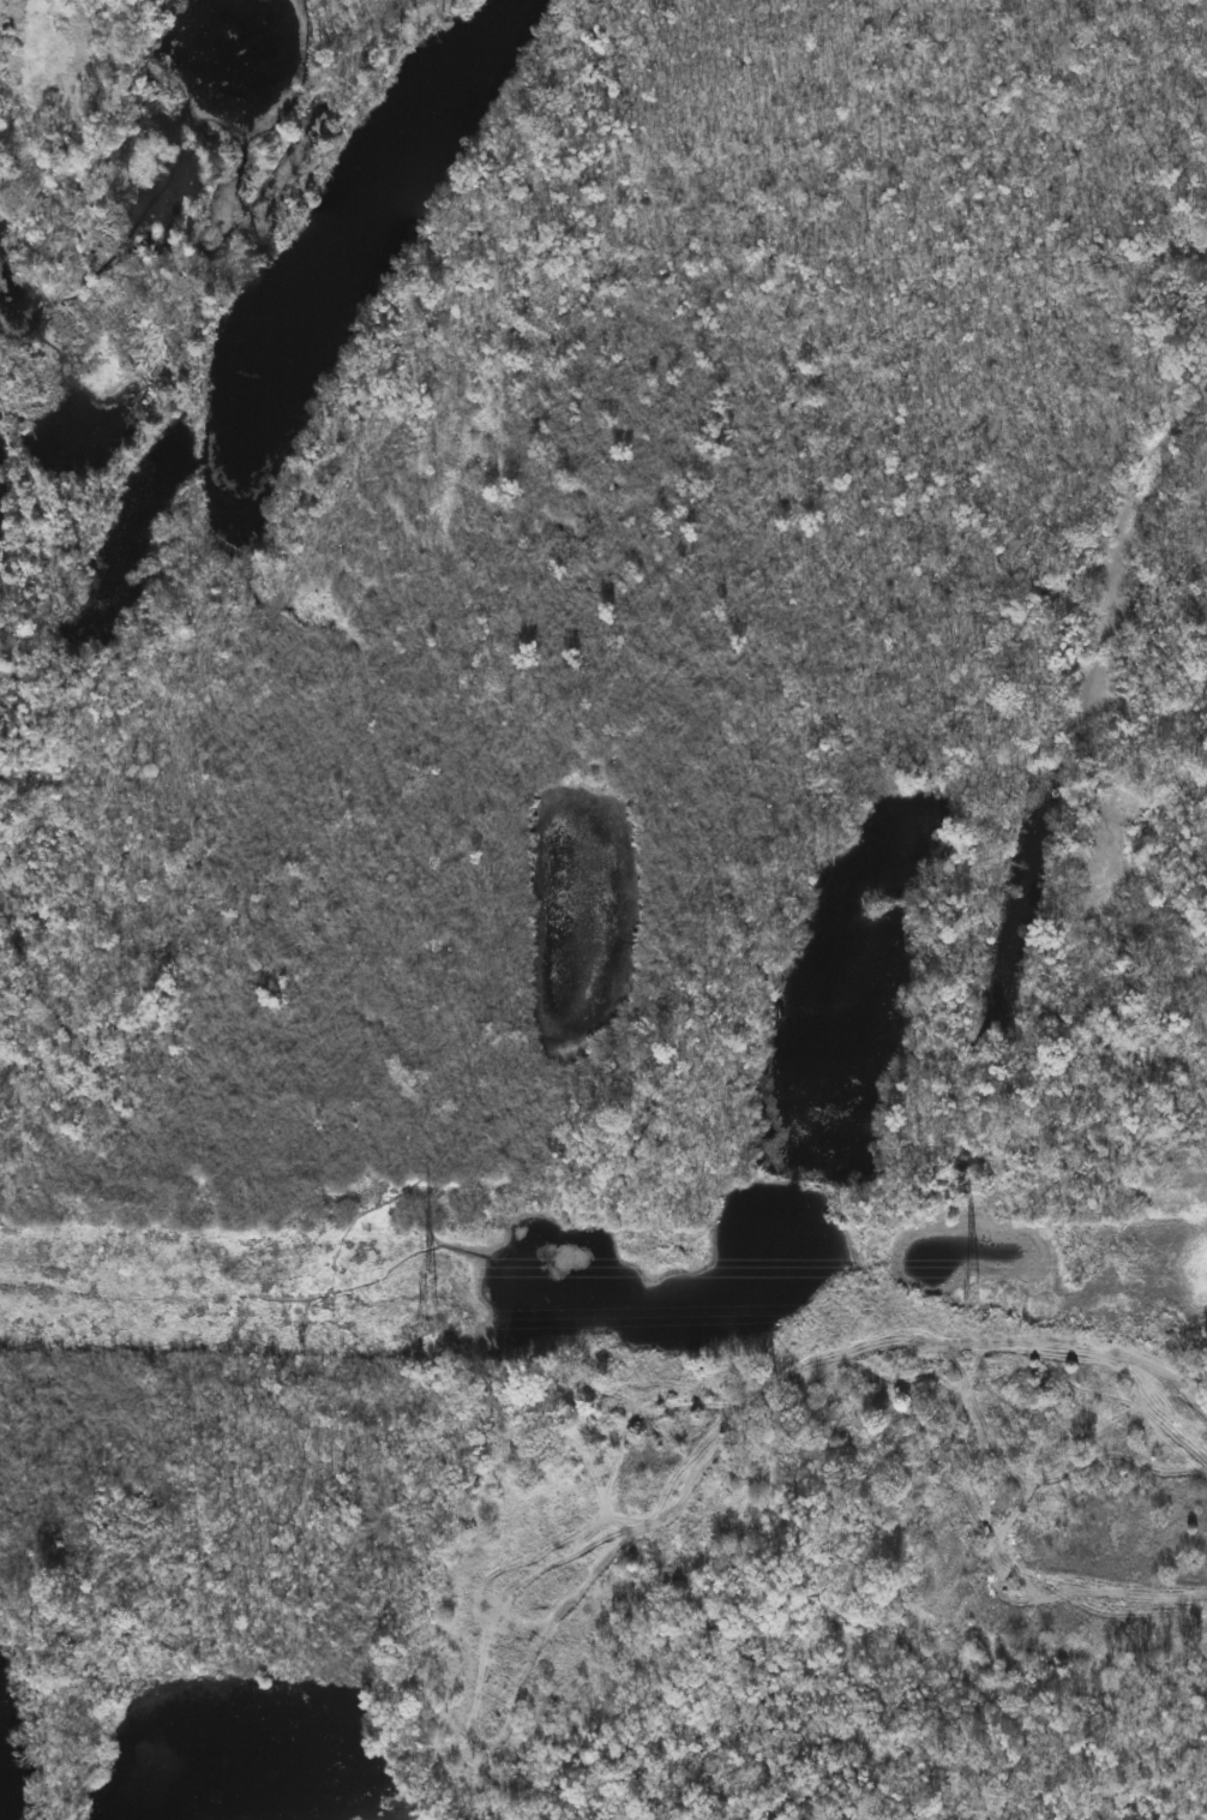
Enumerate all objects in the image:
power tower: (975, 1291)
power tower: (432, 1297)

